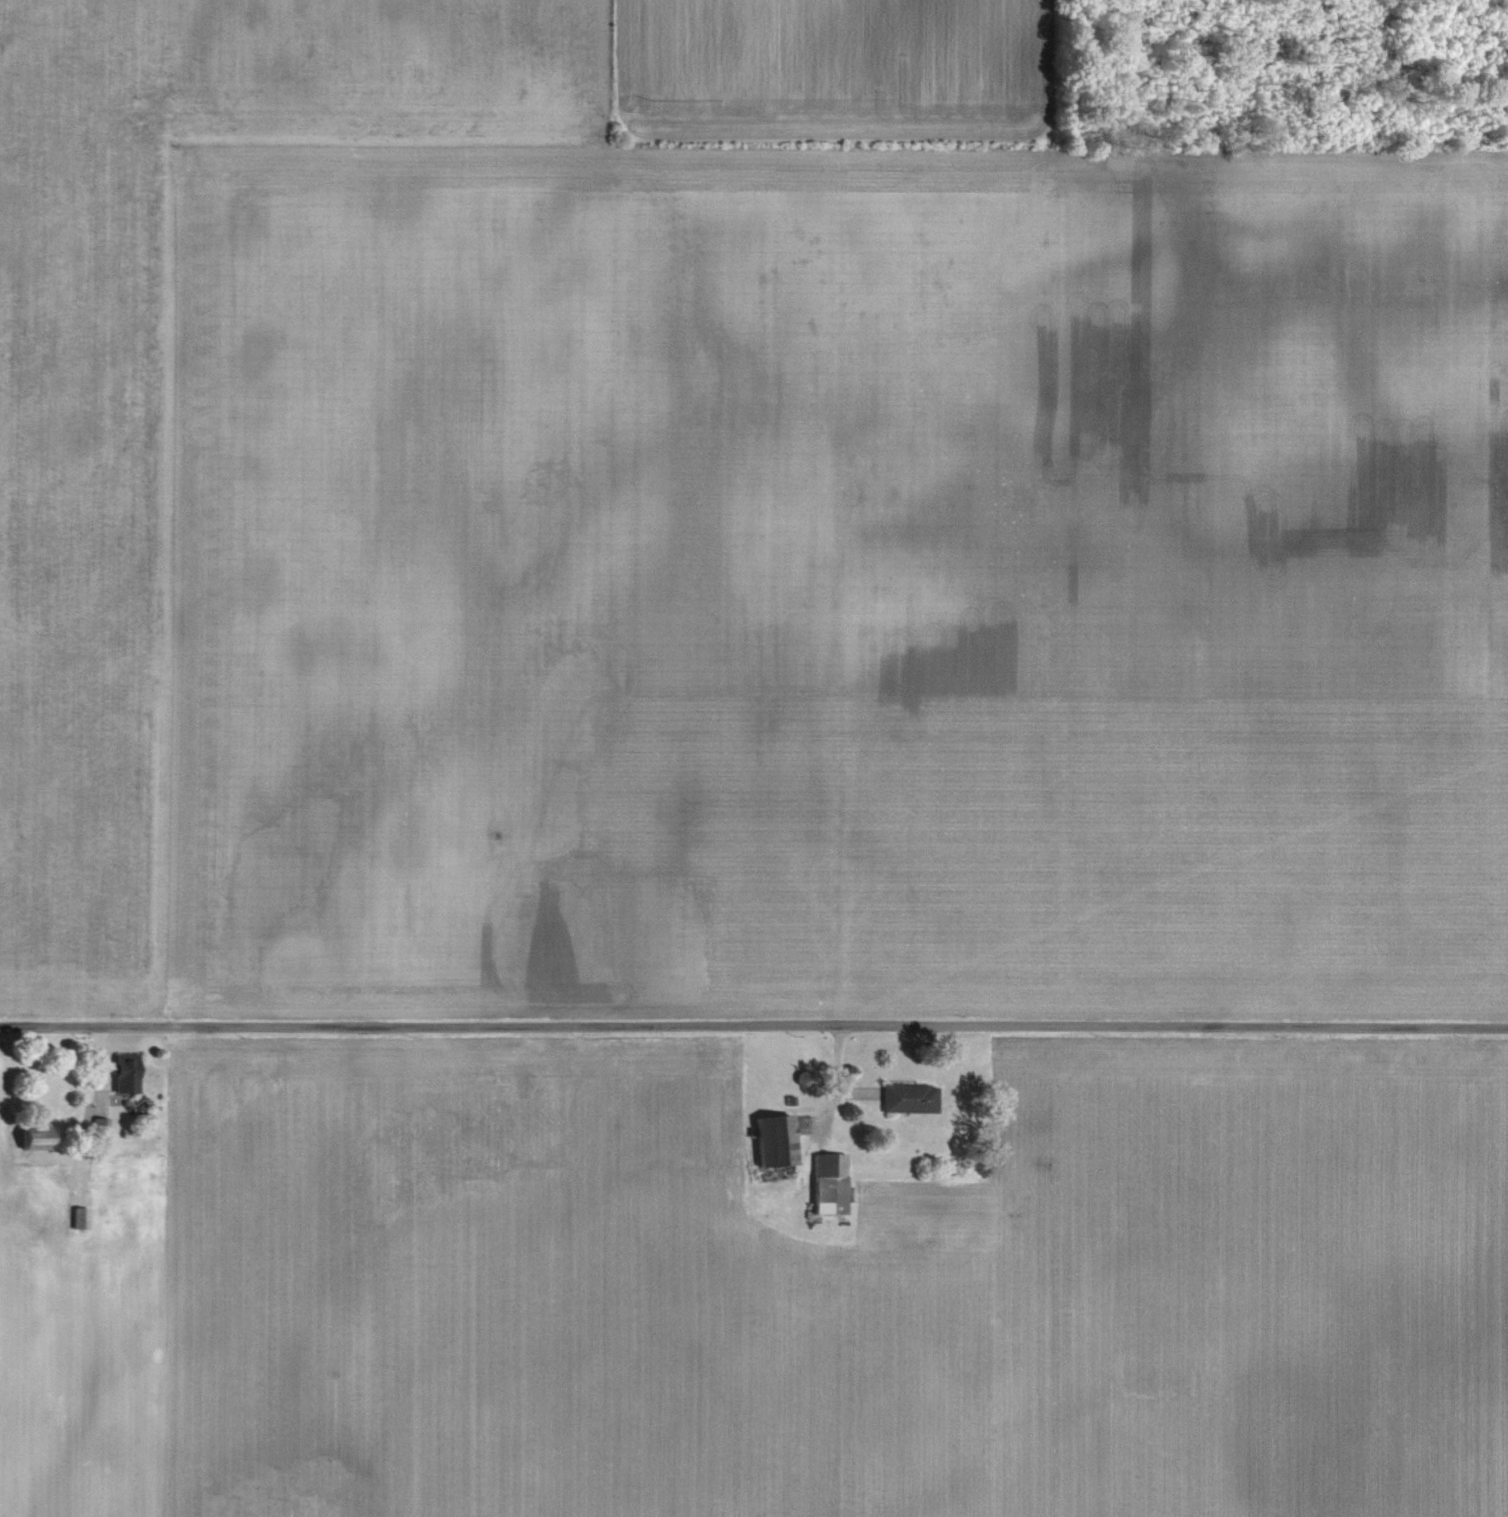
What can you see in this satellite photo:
road: (754, 1026)
building: (127, 1074)
building: (807, 1080)
building: (910, 1098)
building: (100, 1129)
building: (38, 1138)
building: (777, 1142)
building: (831, 1185)
building: (79, 1219)

